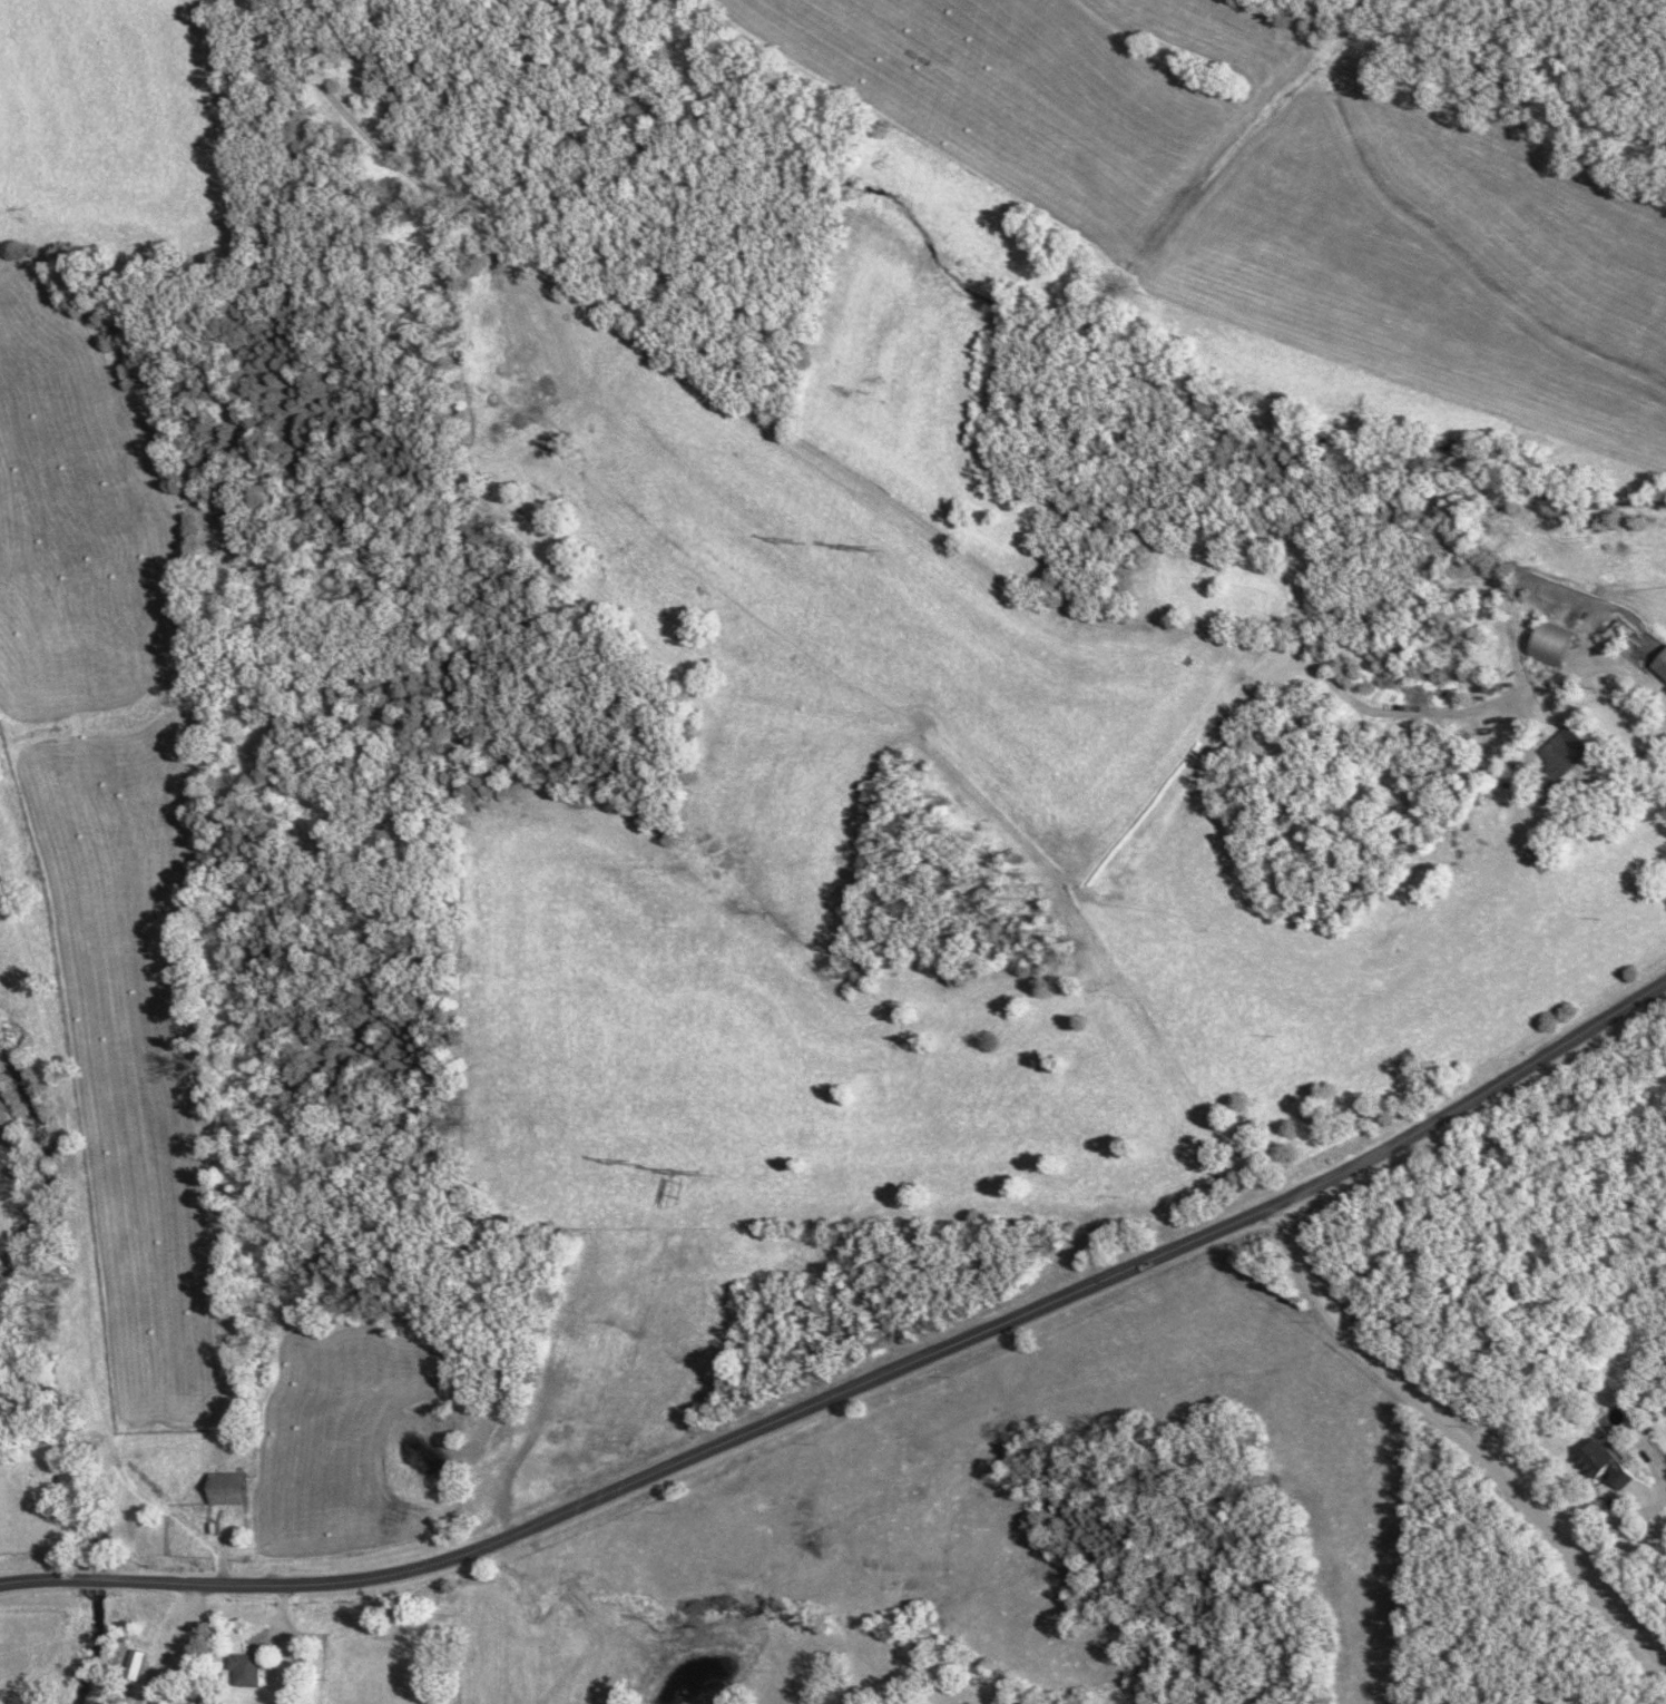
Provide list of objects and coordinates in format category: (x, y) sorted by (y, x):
power tower: (870, 548)
building: (1613, 637)
building: (1659, 665)
road: (1621, 673)
building: (1559, 755)
power tower: (694, 1178)
road: (860, 1382)
road: (1463, 1438)
building: (1600, 1462)
building: (224, 1487)
road: (232, 1617)
road: (173, 1661)
building: (133, 1665)
building: (243, 1669)

